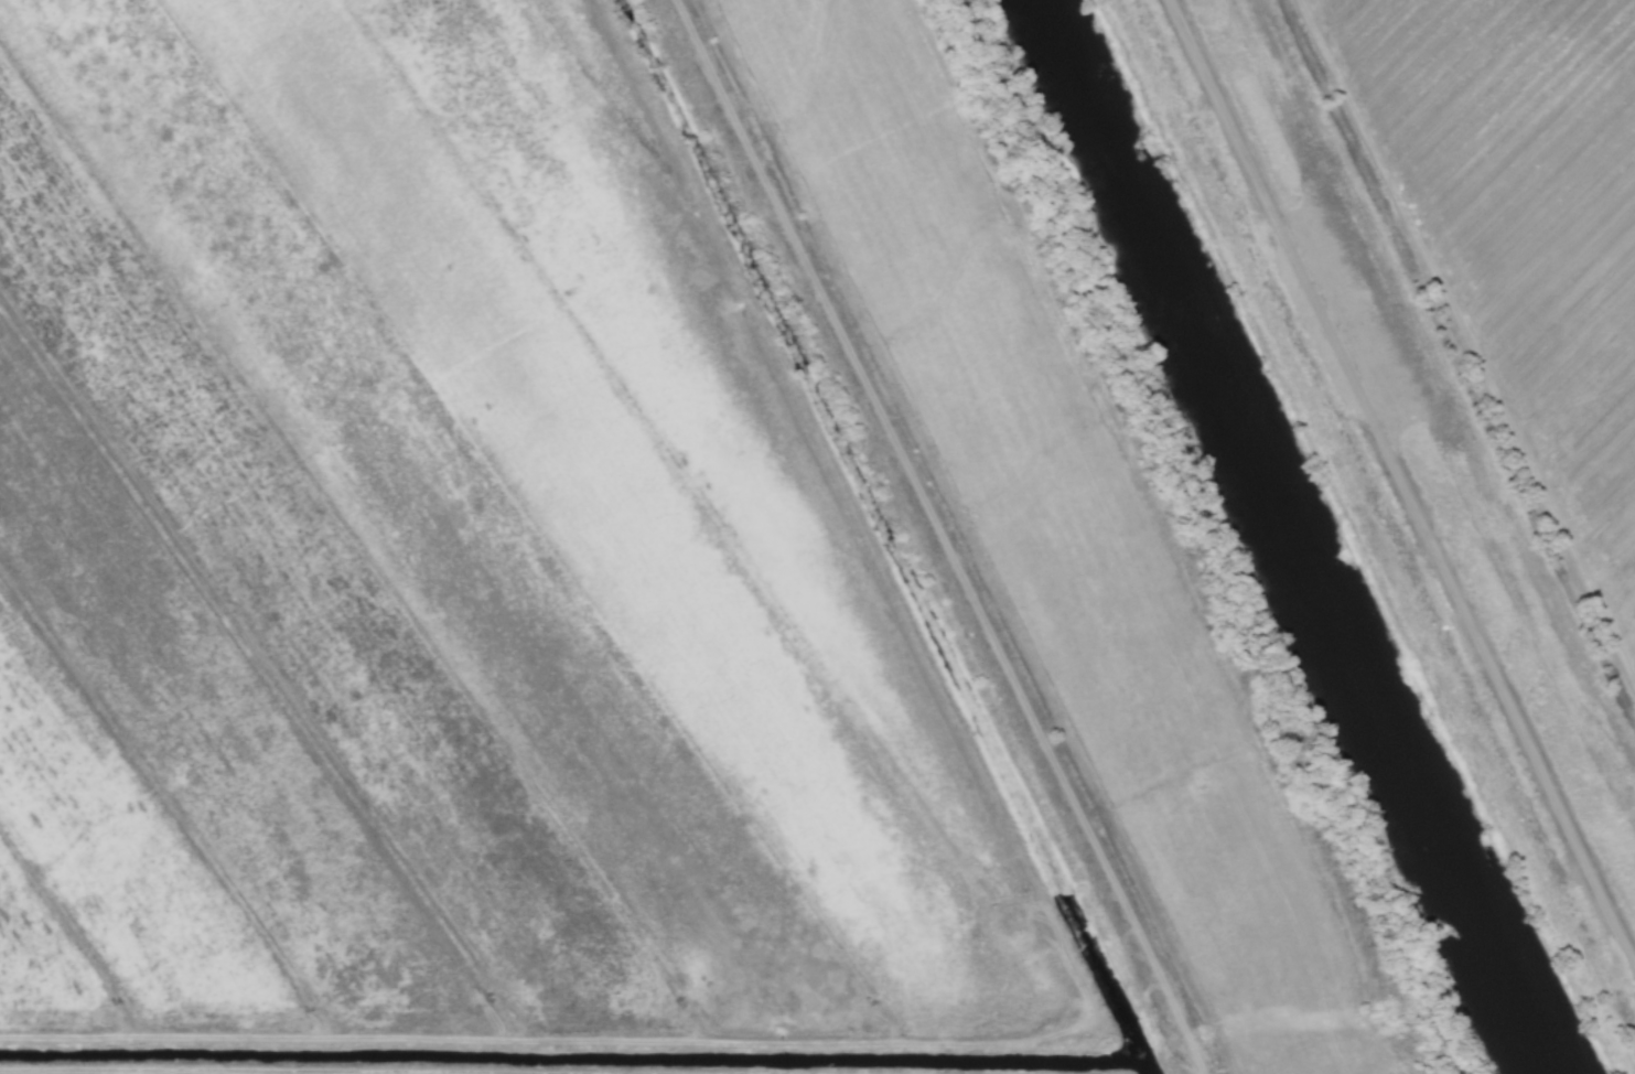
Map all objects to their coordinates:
crop: (1487, 290)
crop: (604, 567)
road: (1469, 581)

